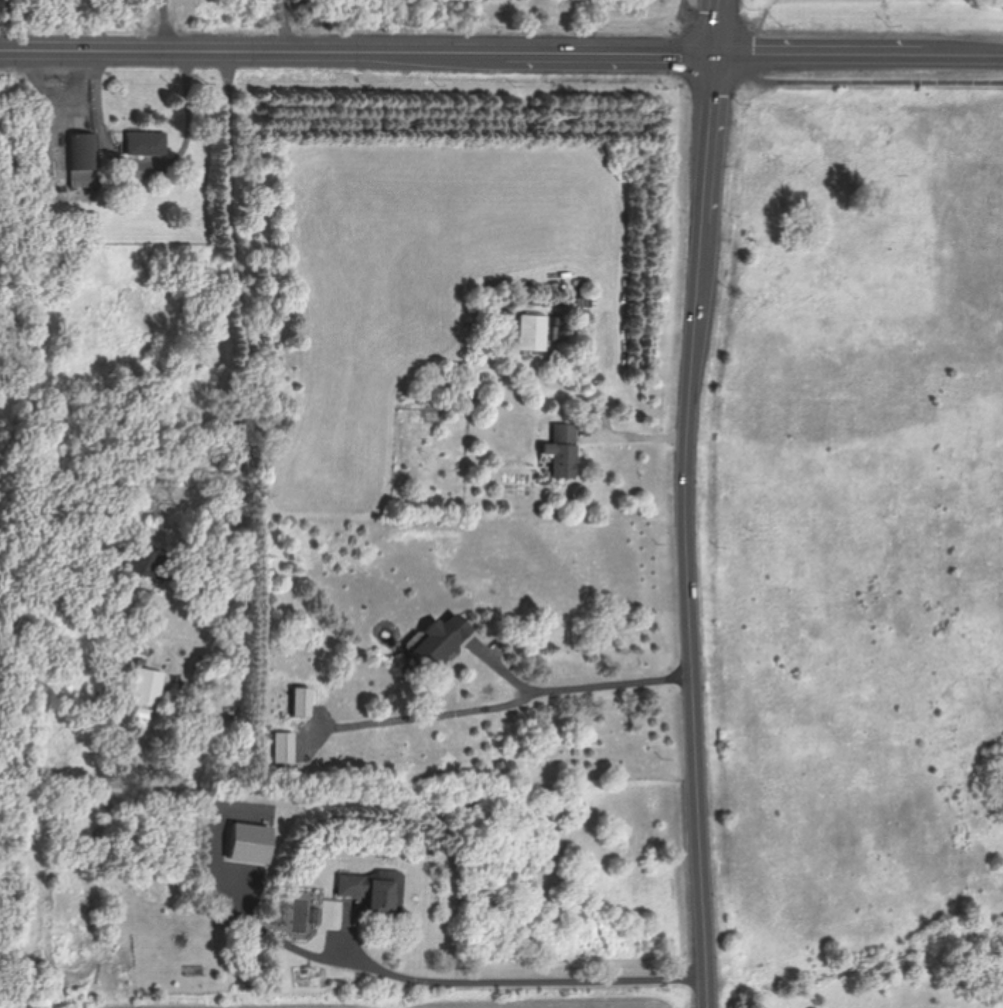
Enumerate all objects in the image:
park: (960, 1)
road: (161, 25)
road: (284, 25)
road: (359, 51)
road: (861, 53)
road: (856, 82)
road: (57, 121)
building: (145, 143)
building: (80, 159)
road: (144, 169)
building: (531, 332)
road: (234, 410)
road: (633, 434)
building: (563, 451)
road: (688, 503)
park: (851, 528)
building: (140, 562)
building: (441, 641)
road: (579, 685)
building: (146, 687)
building: (302, 702)
road: (434, 716)
building: (284, 747)
building: (374, 892)
road: (515, 981)

